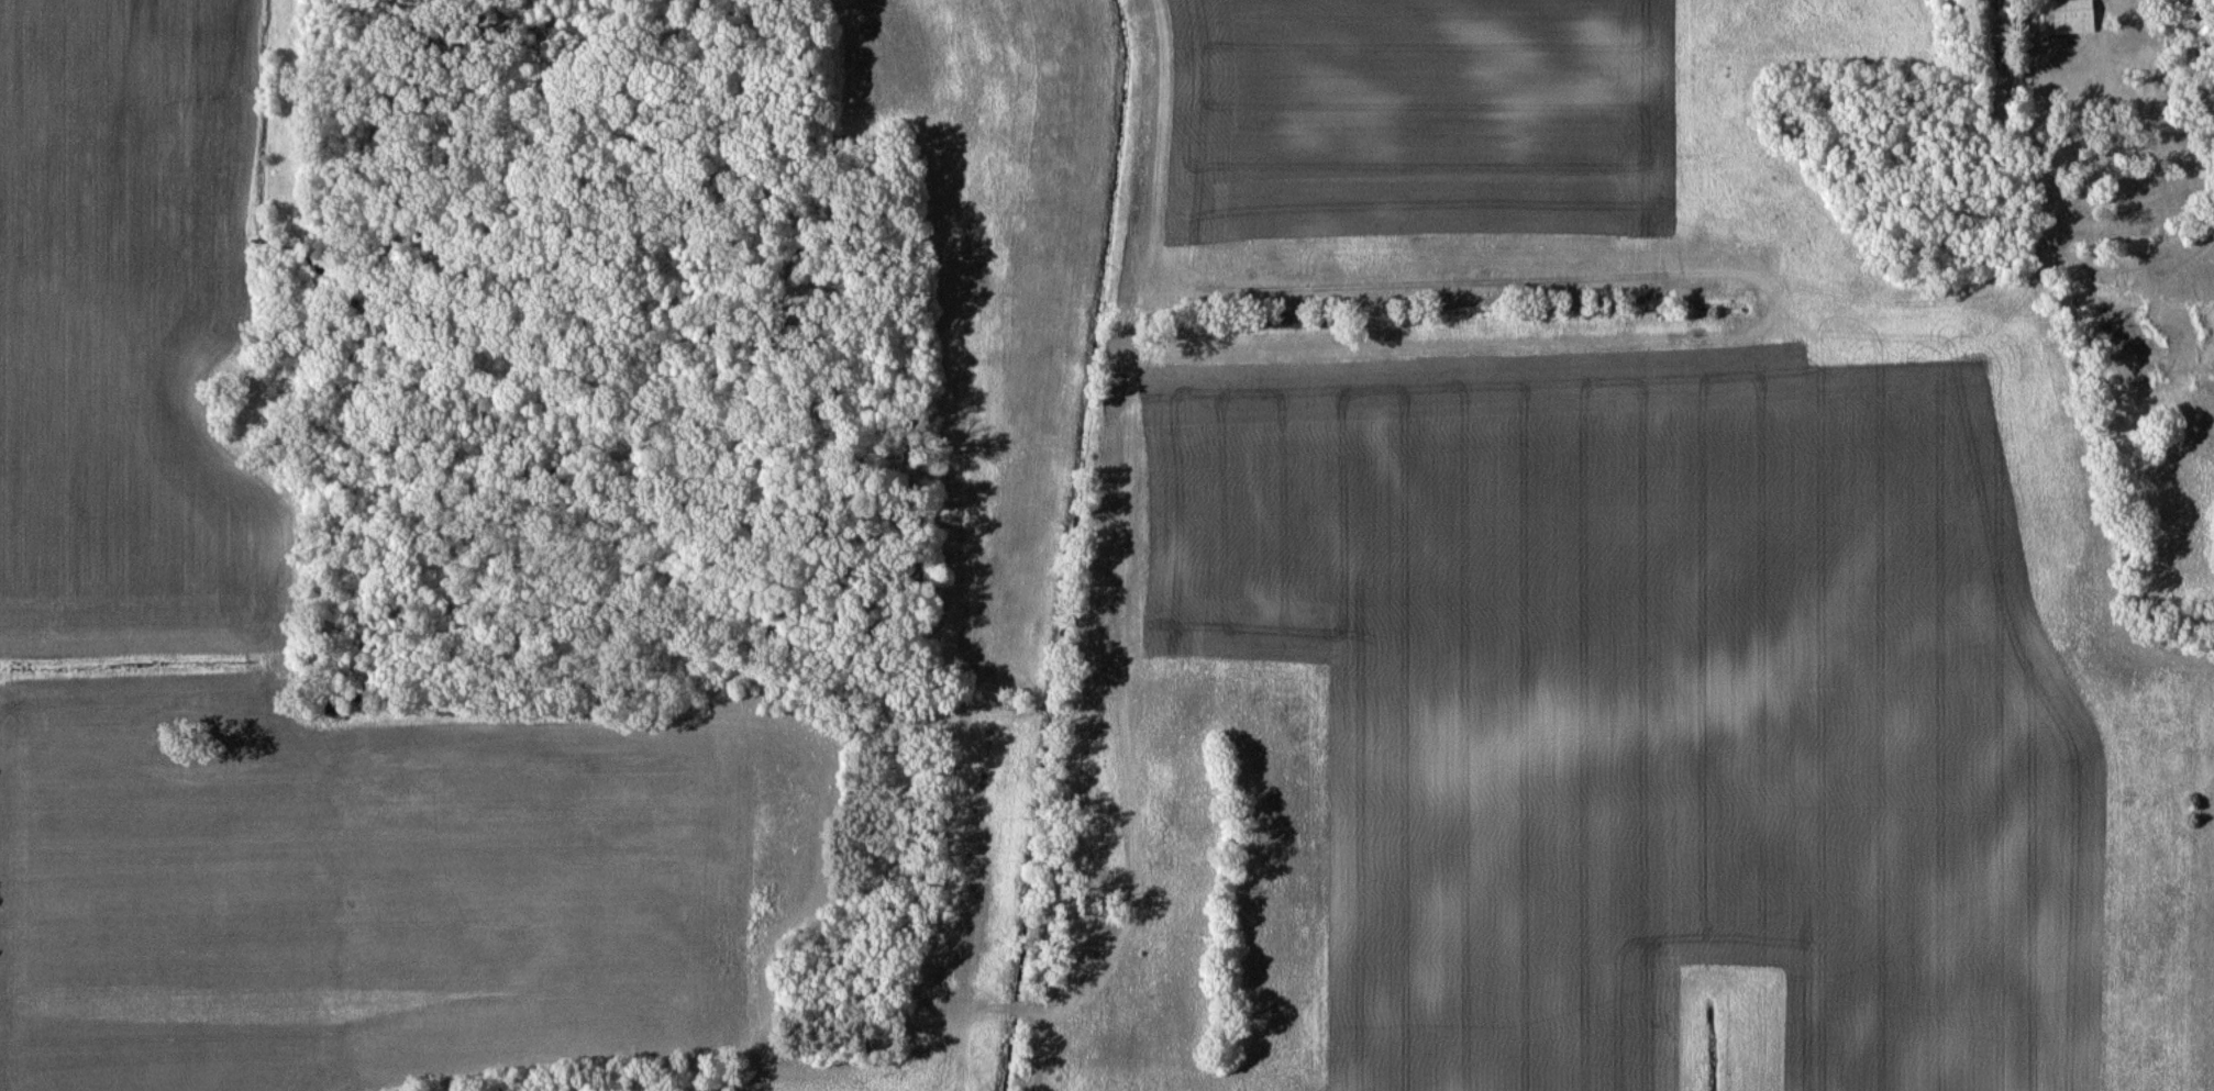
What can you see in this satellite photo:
building: (2063, 16)

